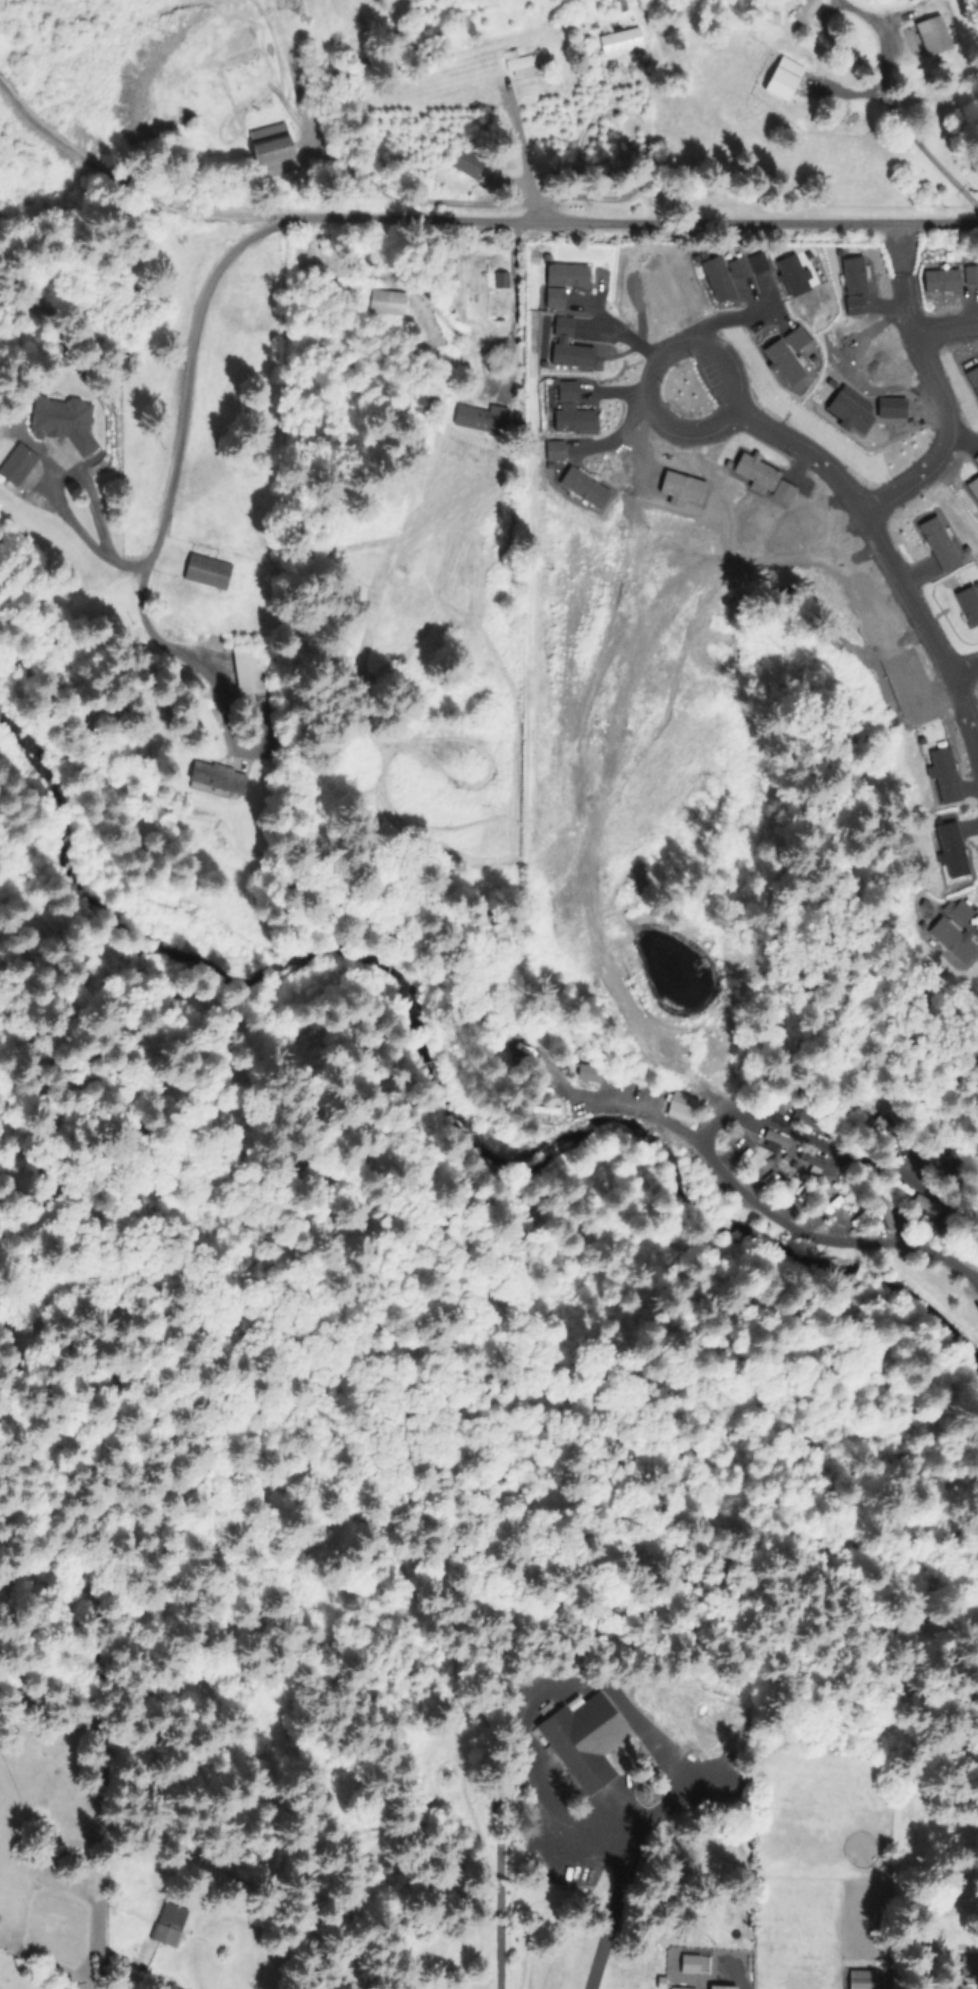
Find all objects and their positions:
building: (623, 4)
building: (806, 10)
building: (934, 35)
building: (622, 41)
building: (529, 63)
building: (788, 79)
road: (891, 110)
road: (641, 139)
building: (275, 153)
road: (519, 159)
building: (468, 161)
road: (430, 223)
building: (763, 262)
building: (572, 274)
building: (798, 274)
building: (974, 274)
building: (502, 278)
building: (724, 278)
building: (748, 278)
building: (946, 279)
building: (859, 284)
building: (559, 296)
building: (389, 300)
road: (512, 307)
road: (730, 320)
building: (568, 325)
road: (944, 328)
building: (802, 339)
building: (577, 355)
building: (790, 362)
road: (659, 371)
building: (975, 376)
building: (573, 391)
building: (895, 408)
building: (856, 413)
building: (482, 418)
building: (579, 418)
building: (65, 421)
building: (560, 450)
road: (806, 456)
building: (19, 465)
building: (761, 471)
building: (639, 479)
building: (589, 485)
building: (976, 485)
road: (51, 489)
building: (687, 490)
building: (789, 492)
road: (880, 499)
building: (945, 543)
building: (212, 571)
building: (971, 602)
road: (181, 659)
road: (961, 665)
building: (247, 674)
building: (914, 678)
building: (923, 712)
building: (949, 778)
building: (218, 779)
building: (955, 852)
building: (960, 912)
building: (953, 942)
road: (635, 1107)
building: (680, 1110)
building: (548, 1113)
road: (706, 1149)
building: (740, 1154)
building: (577, 1752)
road: (561, 1862)
building: (169, 1921)
building: (969, 1965)
building: (858, 1980)
building: (723, 1988)

